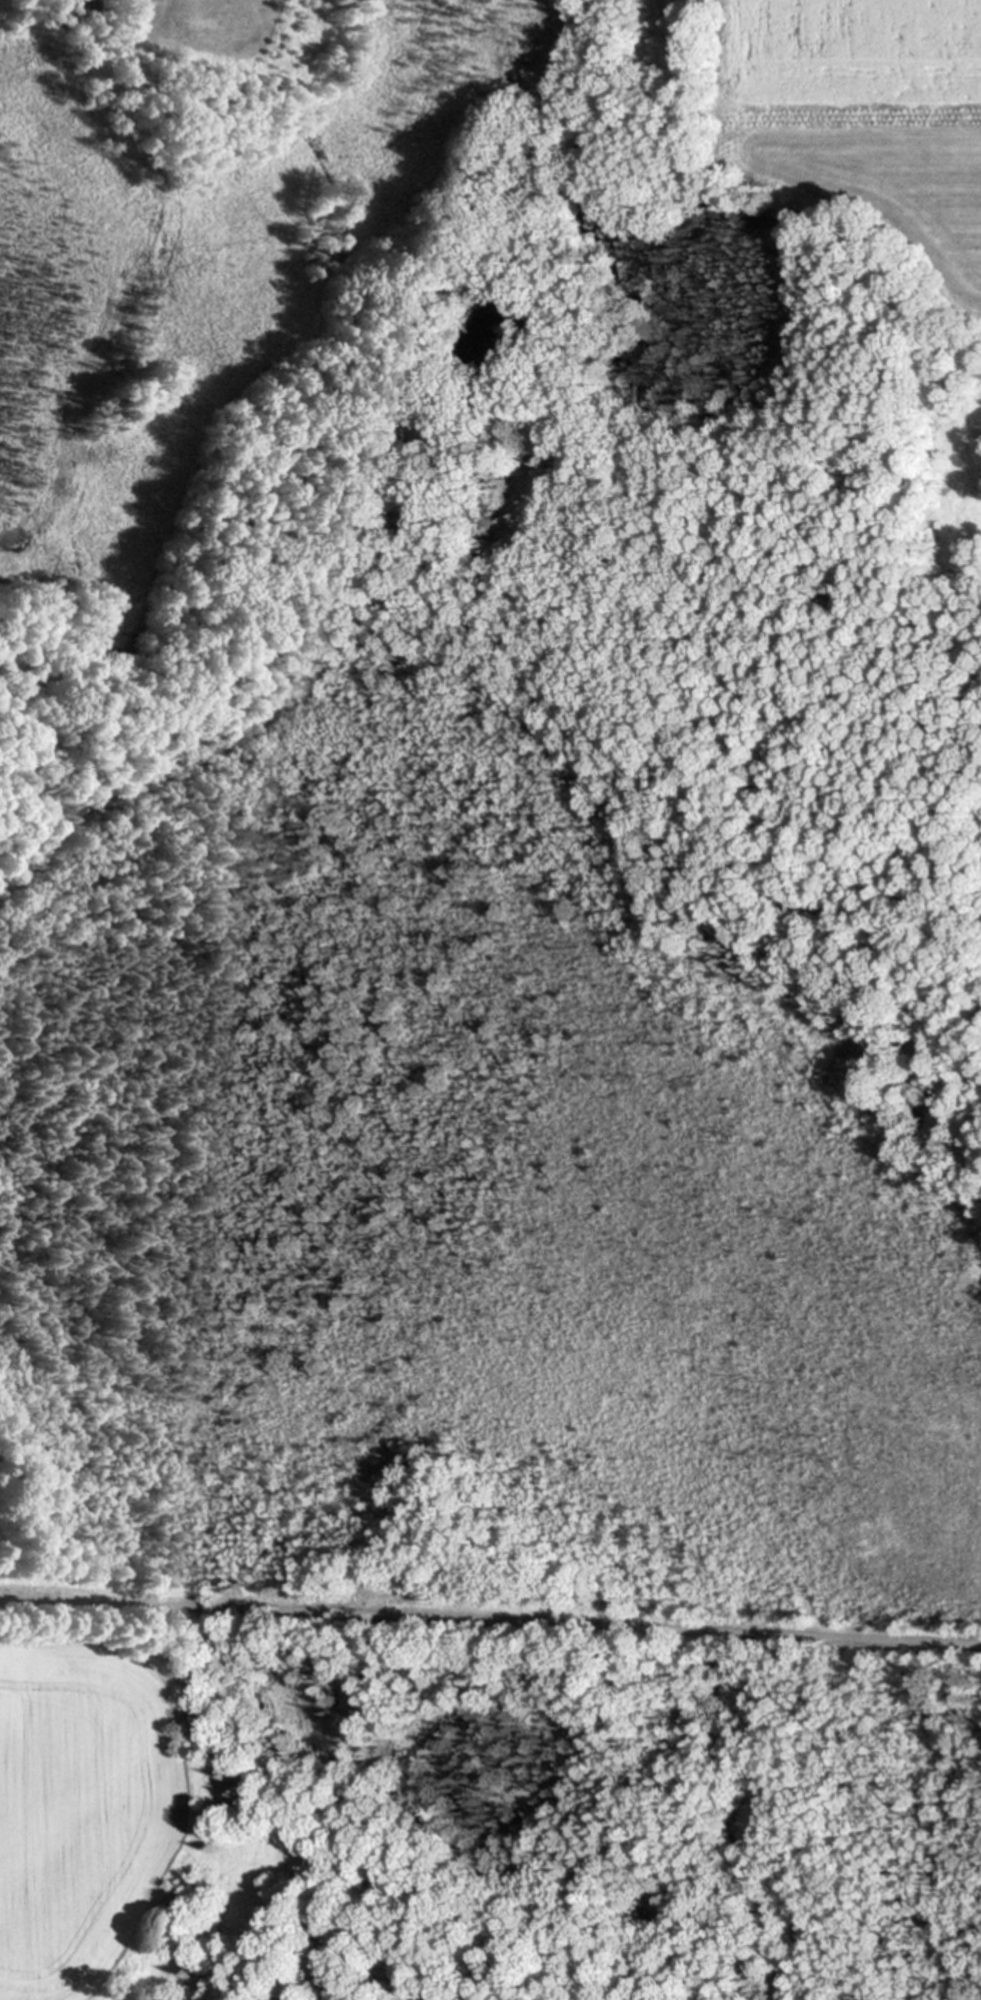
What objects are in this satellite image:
road: (490, 1621)

